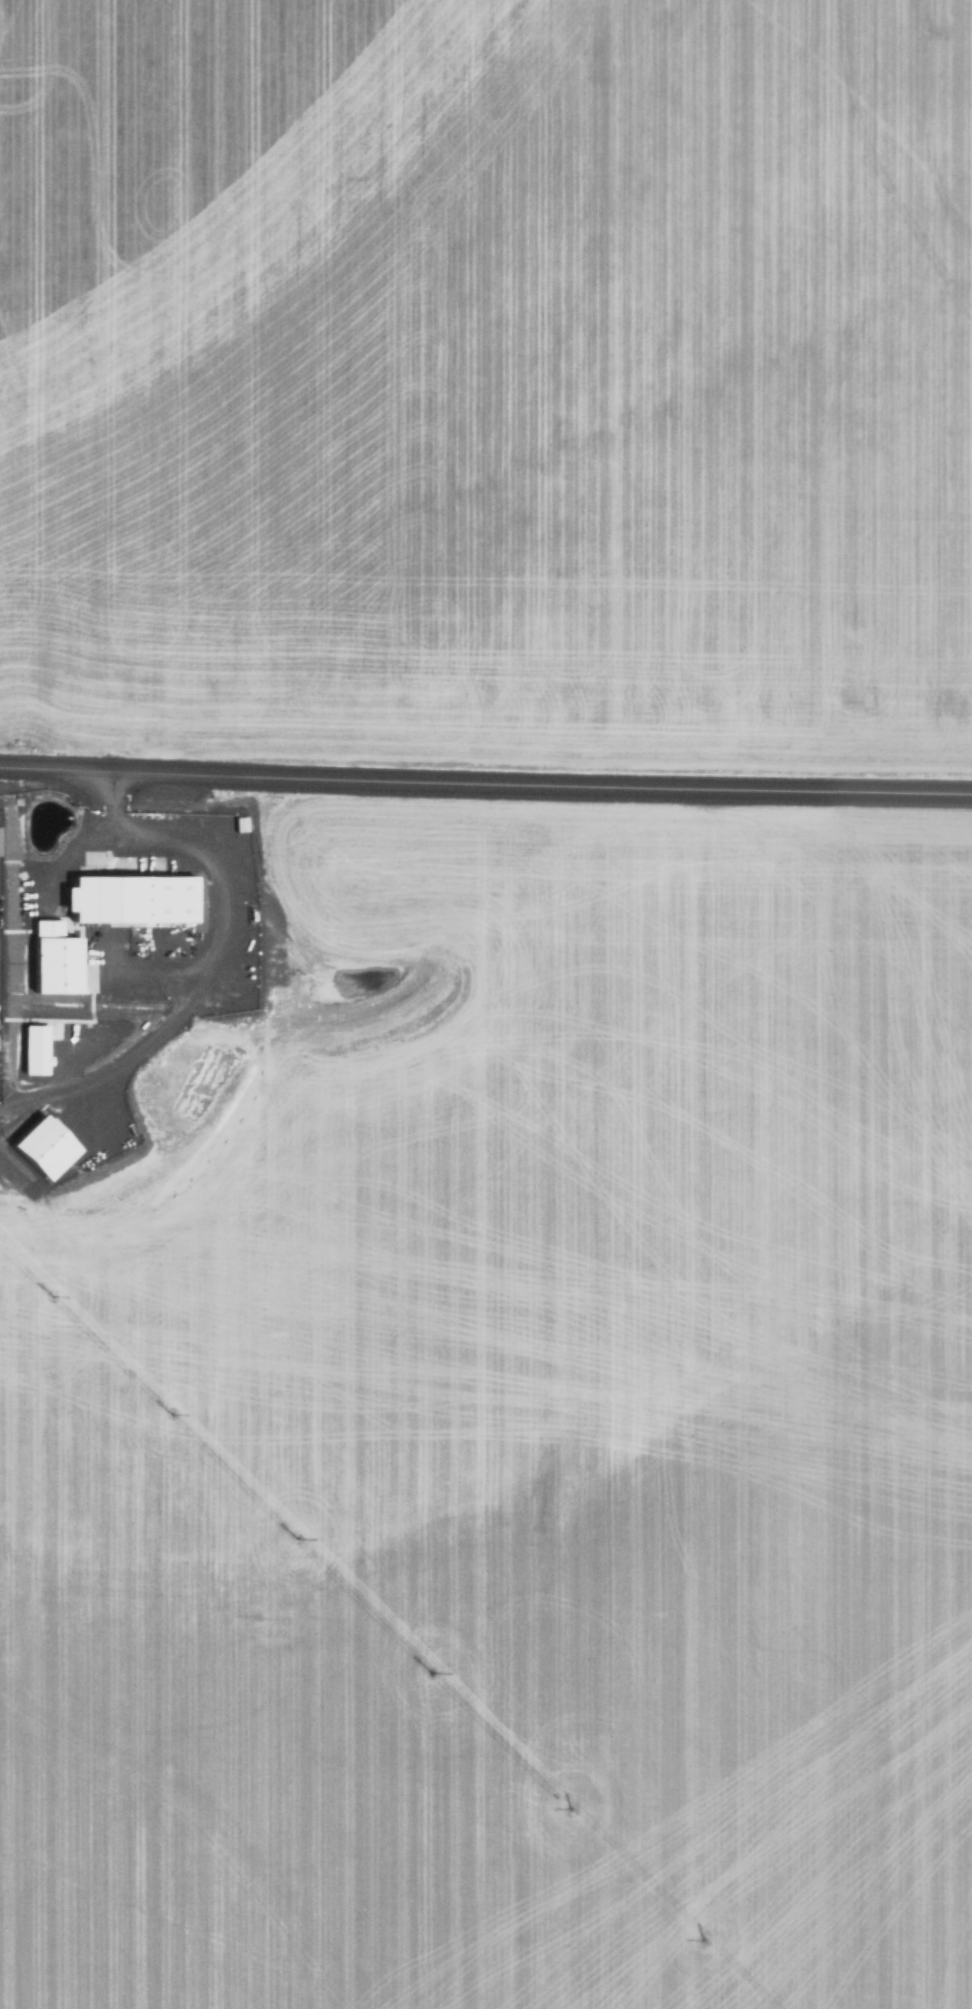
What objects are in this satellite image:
road: (485, 776)
building: (136, 898)
building: (59, 959)
power substation: (0, 960)
building: (37, 1049)
building: (48, 1146)

